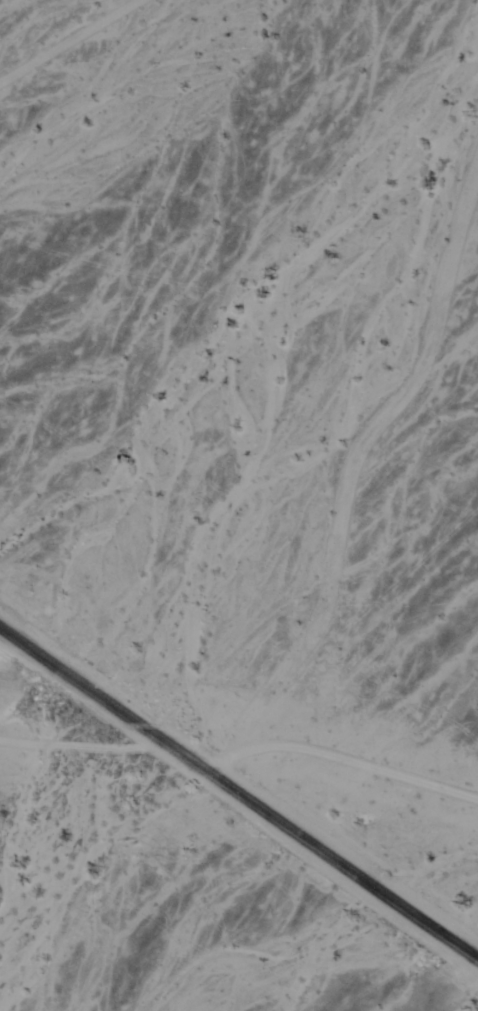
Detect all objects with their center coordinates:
road: (239, 791)

